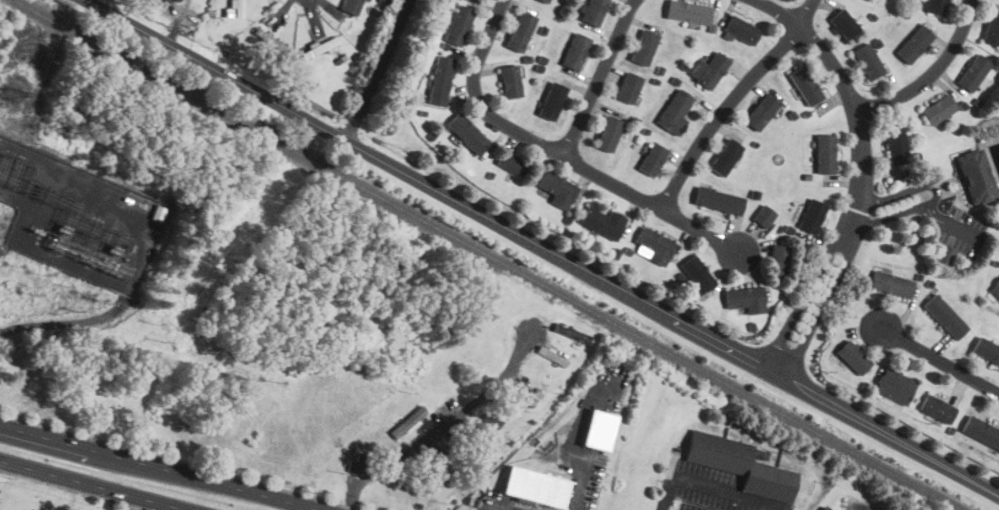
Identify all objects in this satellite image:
building: (177, 0)
building: (476, 0)
building: (479, 0)
building: (542, 1)
building: (351, 6)
building: (936, 7)
building: (238, 8)
building: (593, 11)
building: (687, 11)
building: (842, 24)
building: (457, 25)
building: (991, 28)
building: (740, 29)
building: (520, 32)
building: (270, 40)
building: (914, 44)
building: (643, 47)
building: (319, 48)
building: (575, 51)
building: (867, 61)
building: (709, 70)
building: (973, 72)
road: (934, 74)
road: (601, 78)
building: (439, 81)
building: (510, 81)
building: (804, 85)
building: (627, 87)
power tower: (13, 93)
building: (546, 100)
road: (731, 100)
building: (938, 109)
building: (761, 111)
building: (674, 112)
building: (466, 133)
building: (608, 133)
building: (896, 143)
building: (824, 153)
road: (560, 154)
power tower: (12, 156)
building: (725, 157)
building: (652, 159)
building: (512, 163)
road: (863, 176)
building: (976, 176)
power tower: (2, 182)
building: (557, 188)
road: (936, 192)
building: (718, 200)
building: (763, 215)
building: (812, 215)
power substation: (78, 217)
road: (944, 218)
building: (602, 221)
building: (653, 245)
road: (540, 248)
railway: (485, 255)
building: (943, 255)
building: (778, 261)
building: (697, 273)
building: (890, 284)
building: (996, 289)
building: (745, 298)
building: (944, 315)
building: (572, 333)
building: (986, 351)
building: (551, 355)
building: (853, 356)
road: (941, 360)
building: (894, 385)
building: (518, 396)
building: (936, 408)
building: (407, 421)
road: (439, 427)
building: (484, 427)
building: (599, 429)
building: (981, 432)
building: (356, 459)
building: (740, 464)
road: (157, 468)
building: (436, 470)
road: (577, 482)
road: (713, 483)
road: (91, 485)
building: (534, 485)
road: (497, 507)
building: (825, 508)

